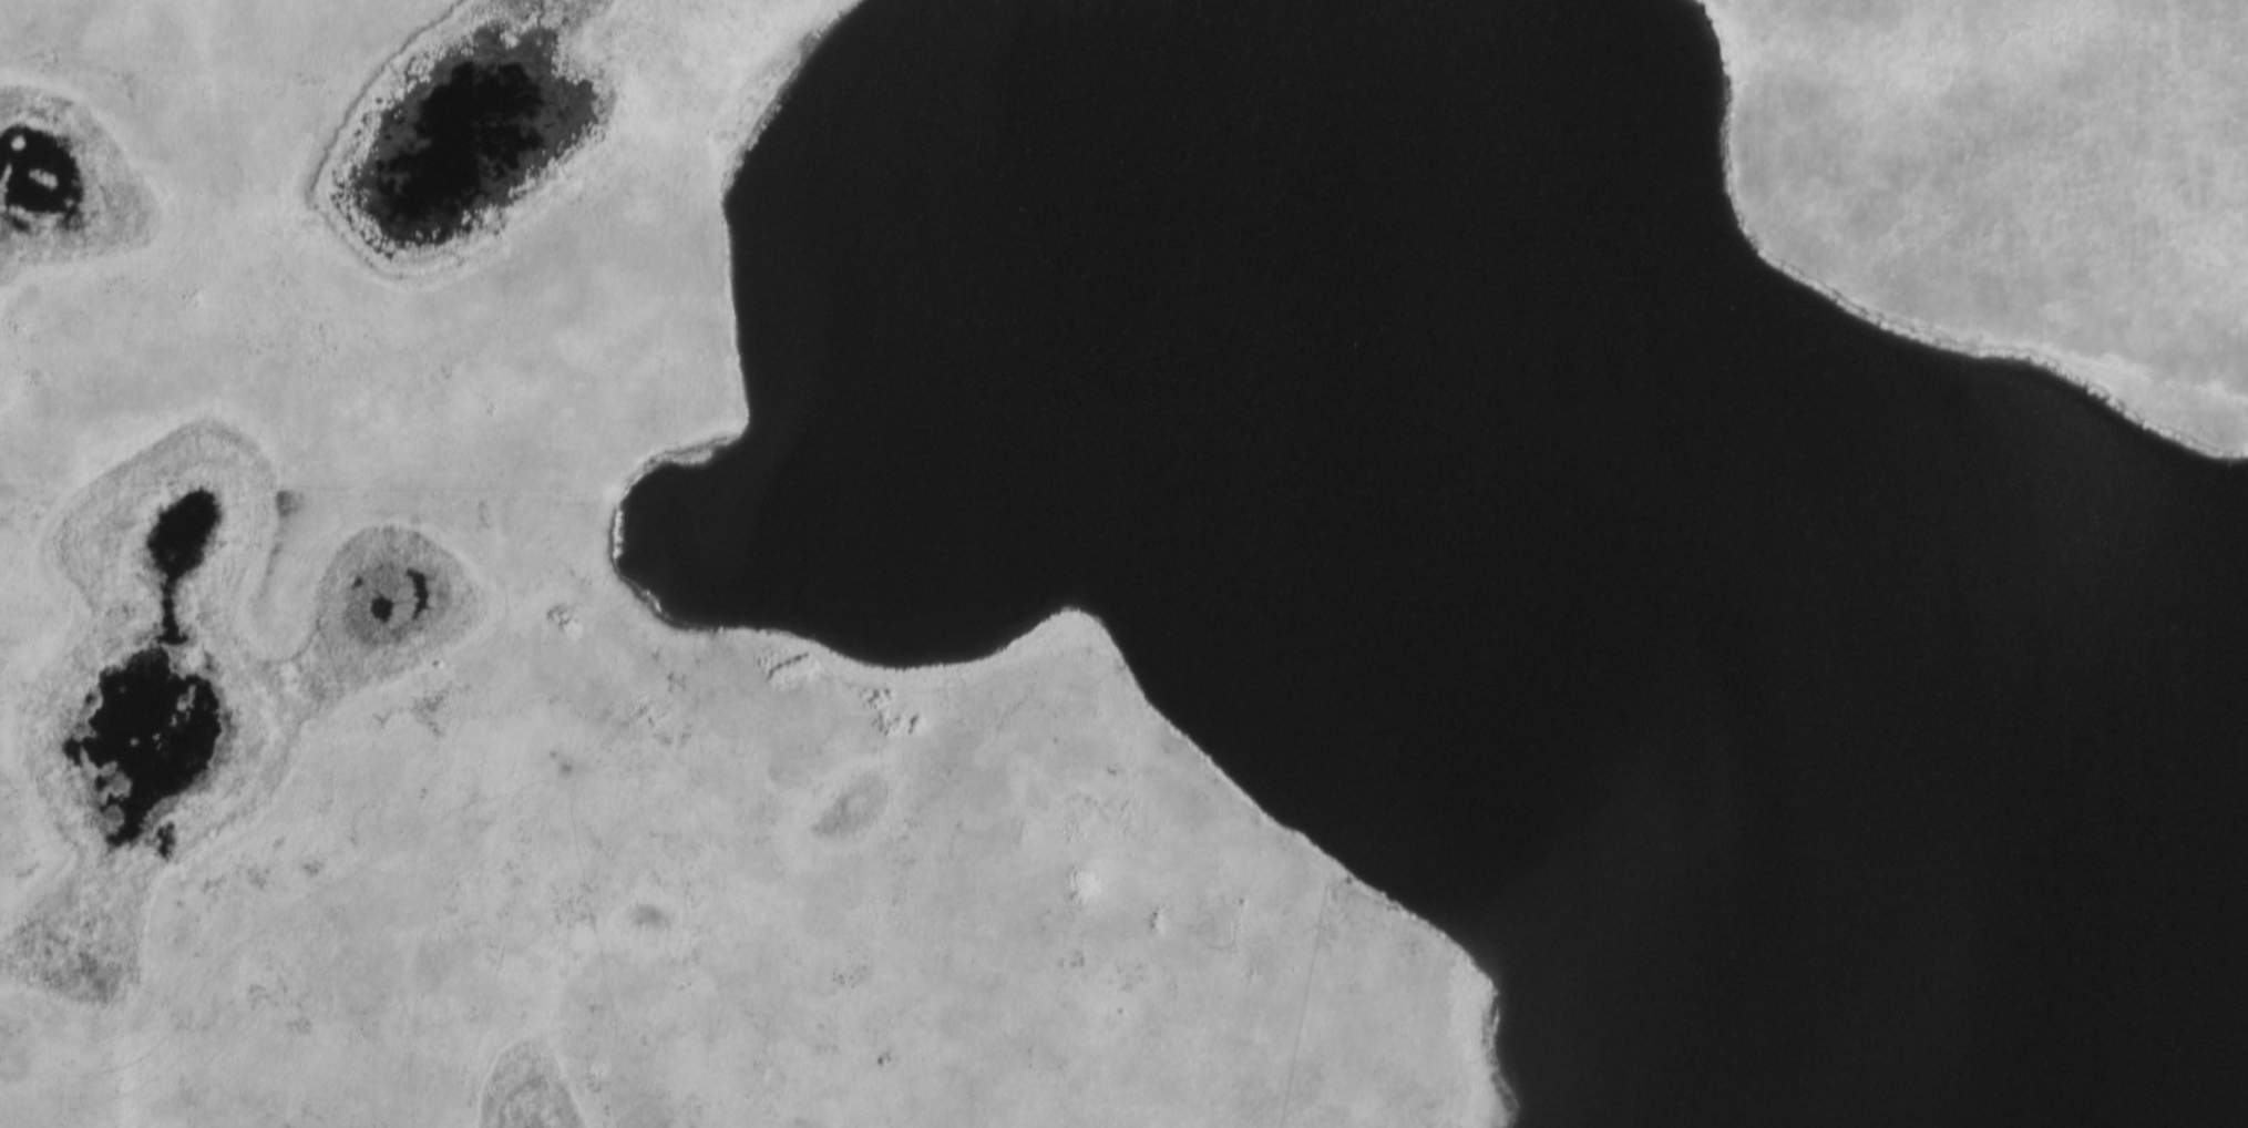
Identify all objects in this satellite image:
river: (1901, 558)
river: (2217, 558)
river: (1987, 945)

